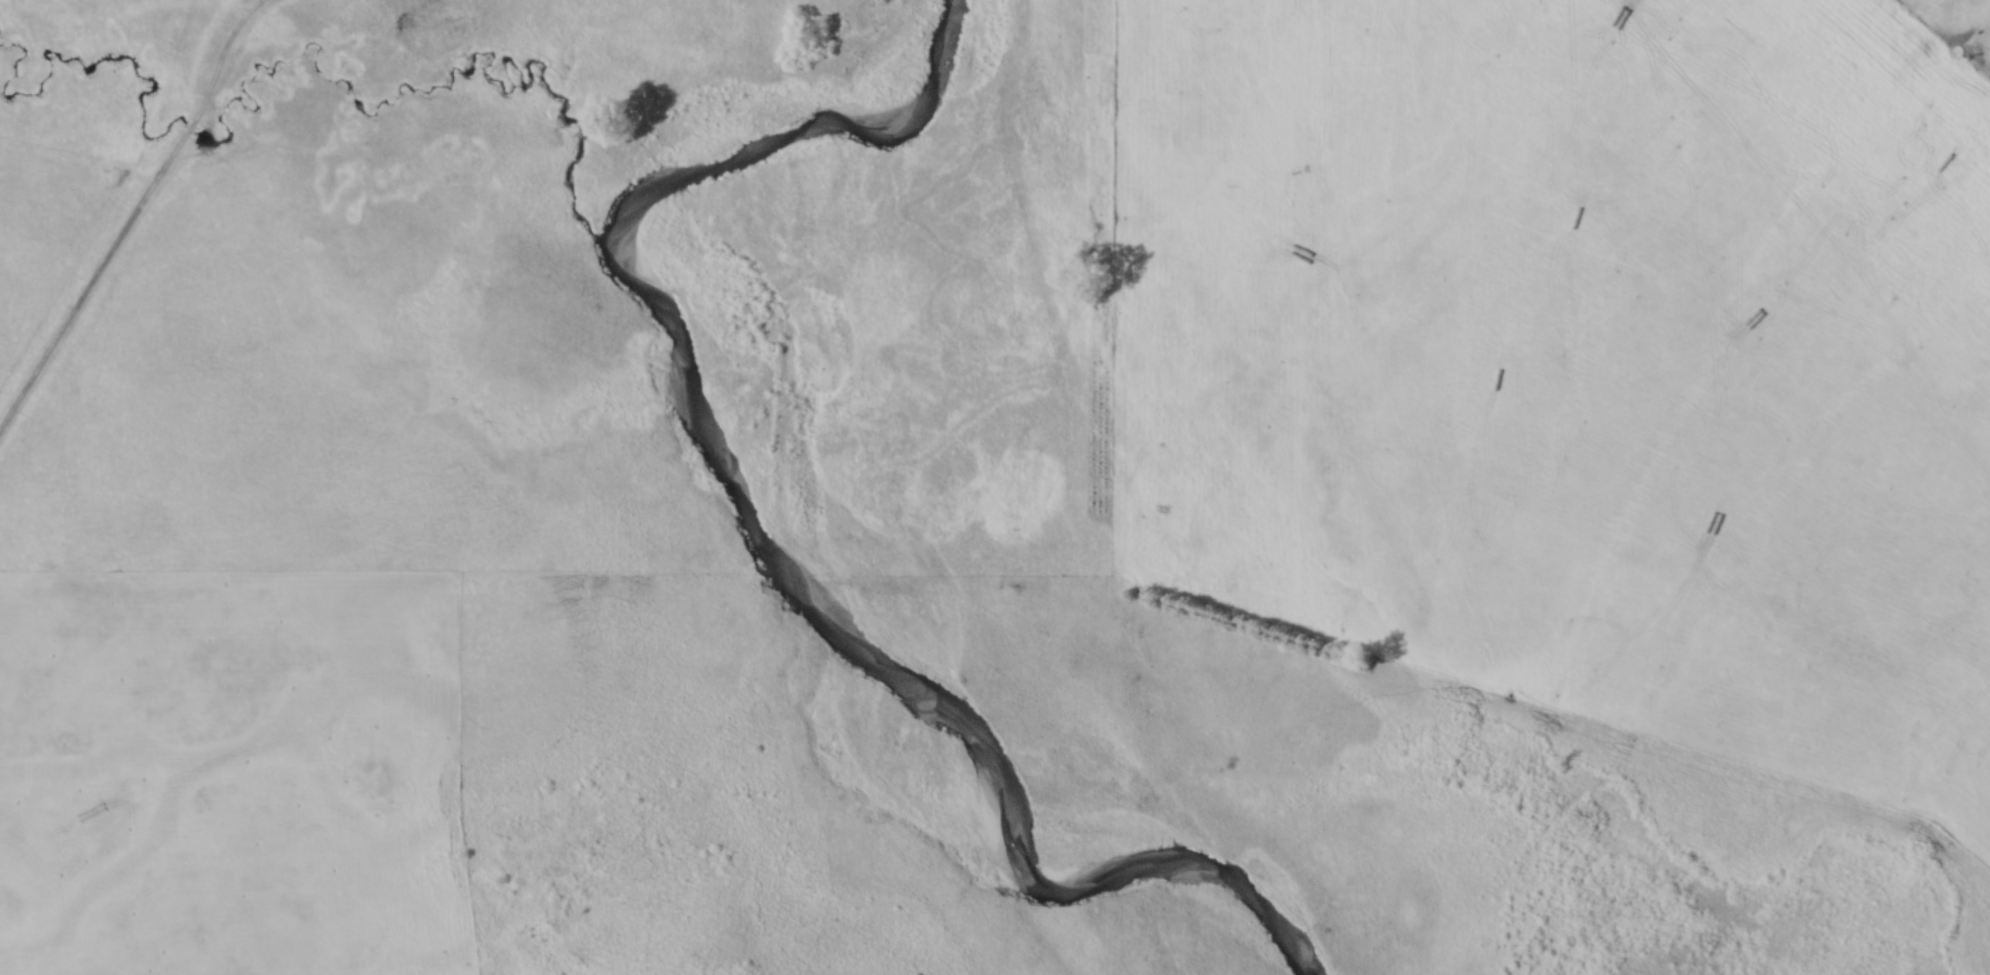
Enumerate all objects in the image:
river: (481, 71)
river: (685, 396)
river: (780, 510)

